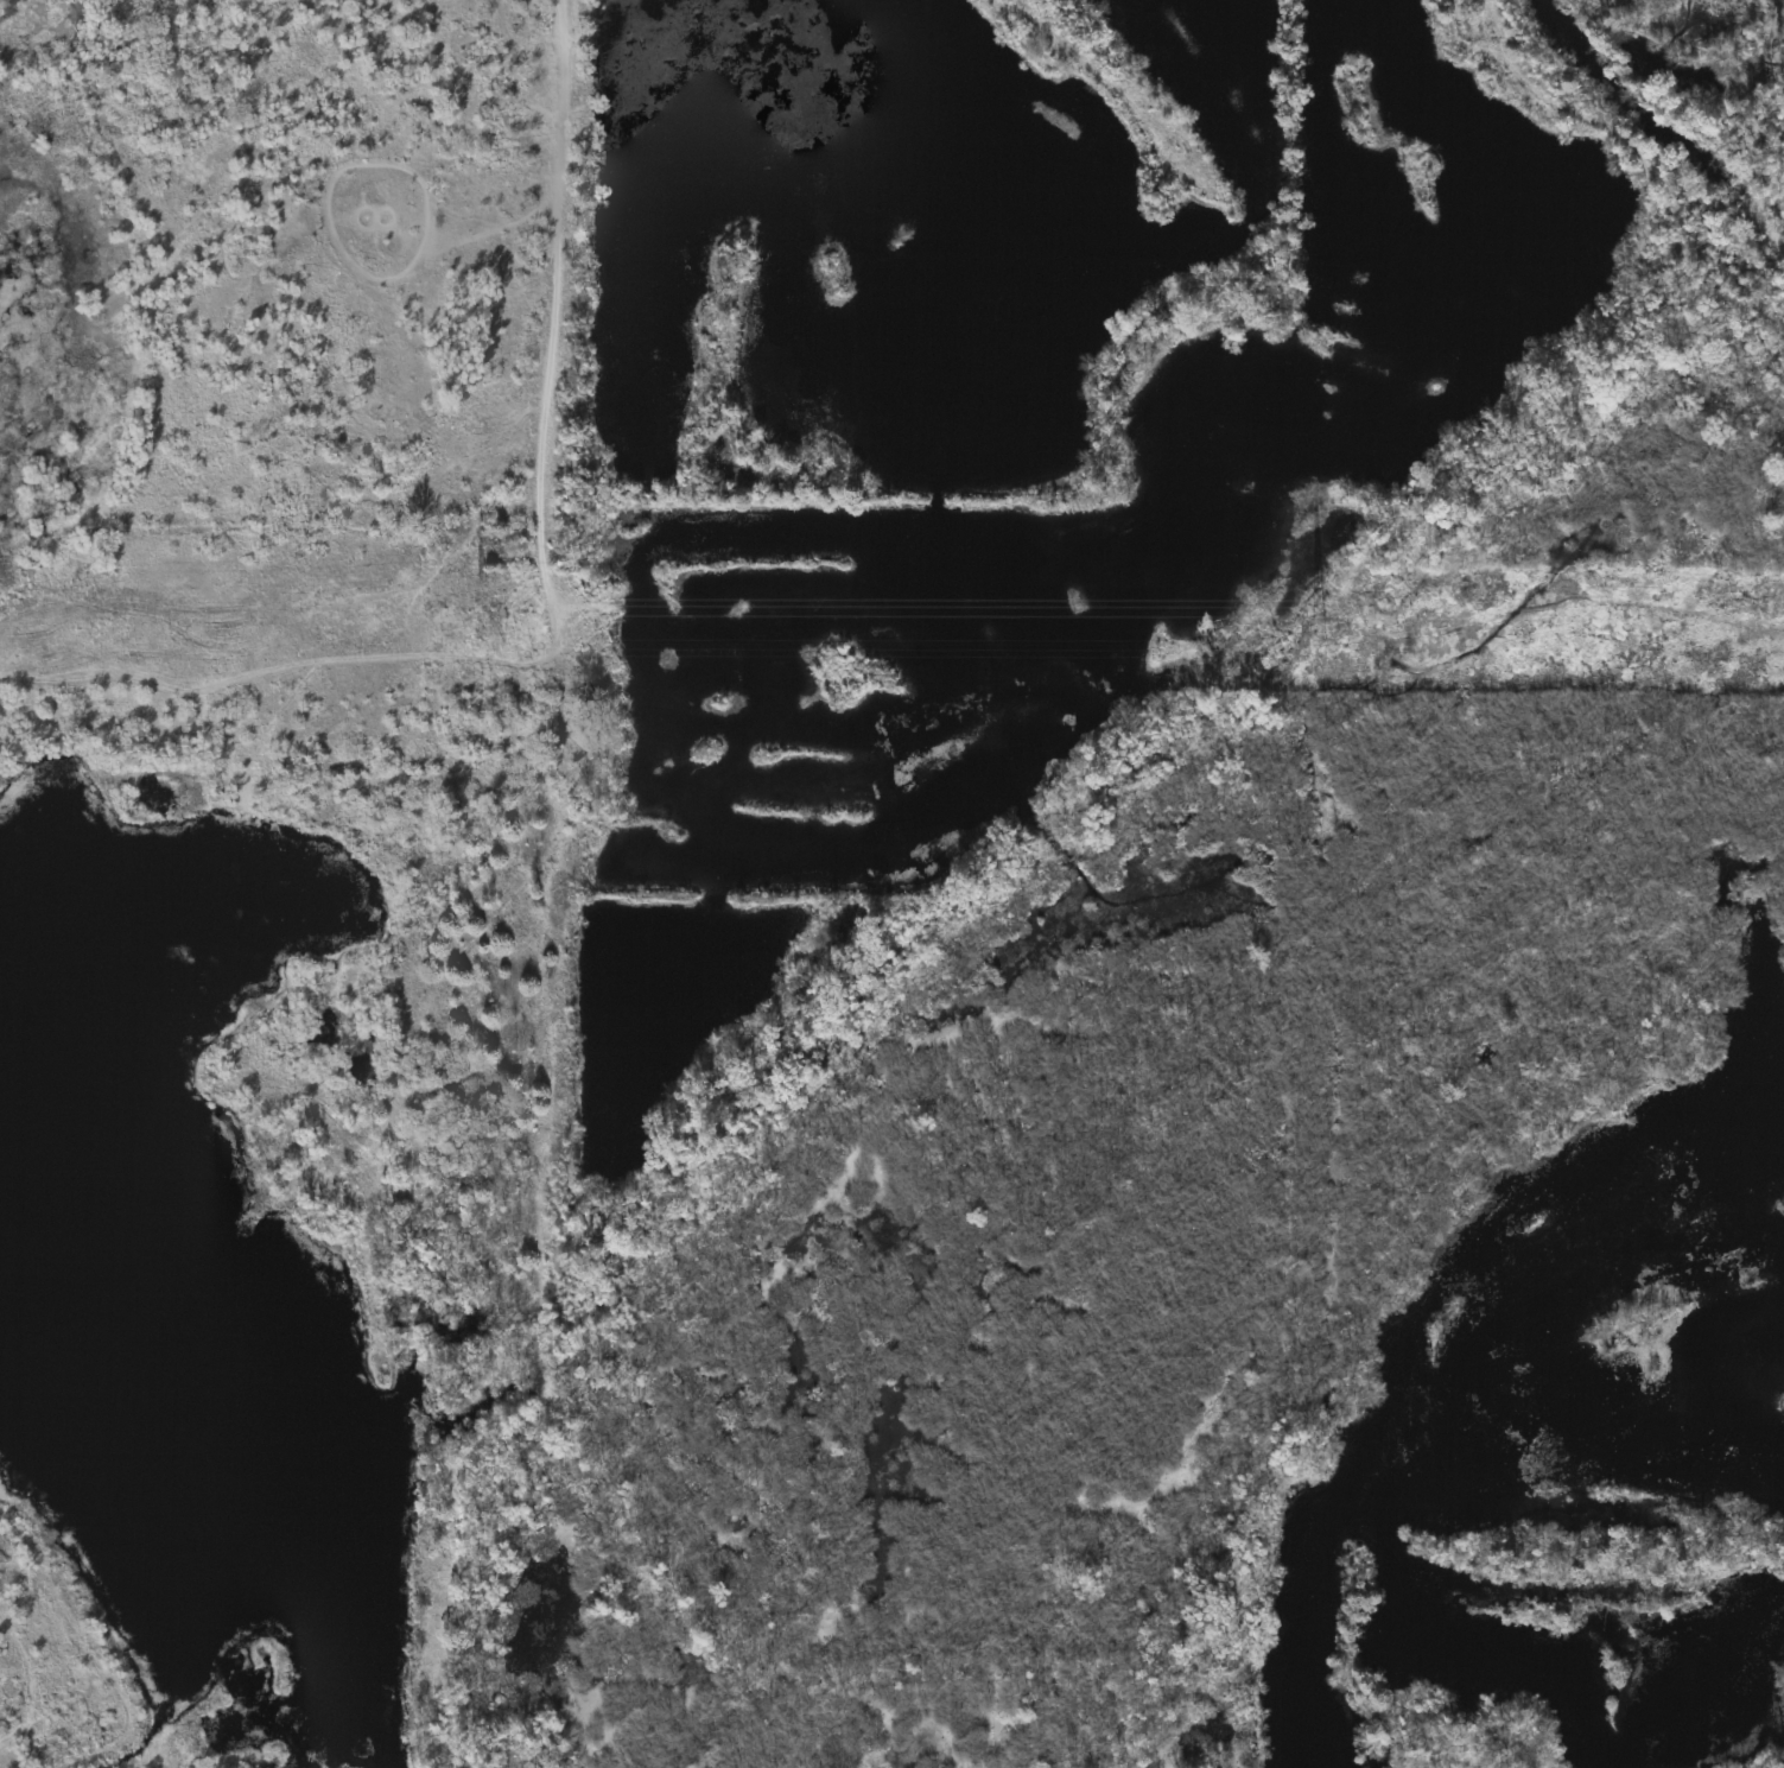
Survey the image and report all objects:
power tower: (482, 629)
power tower: (1320, 633)

